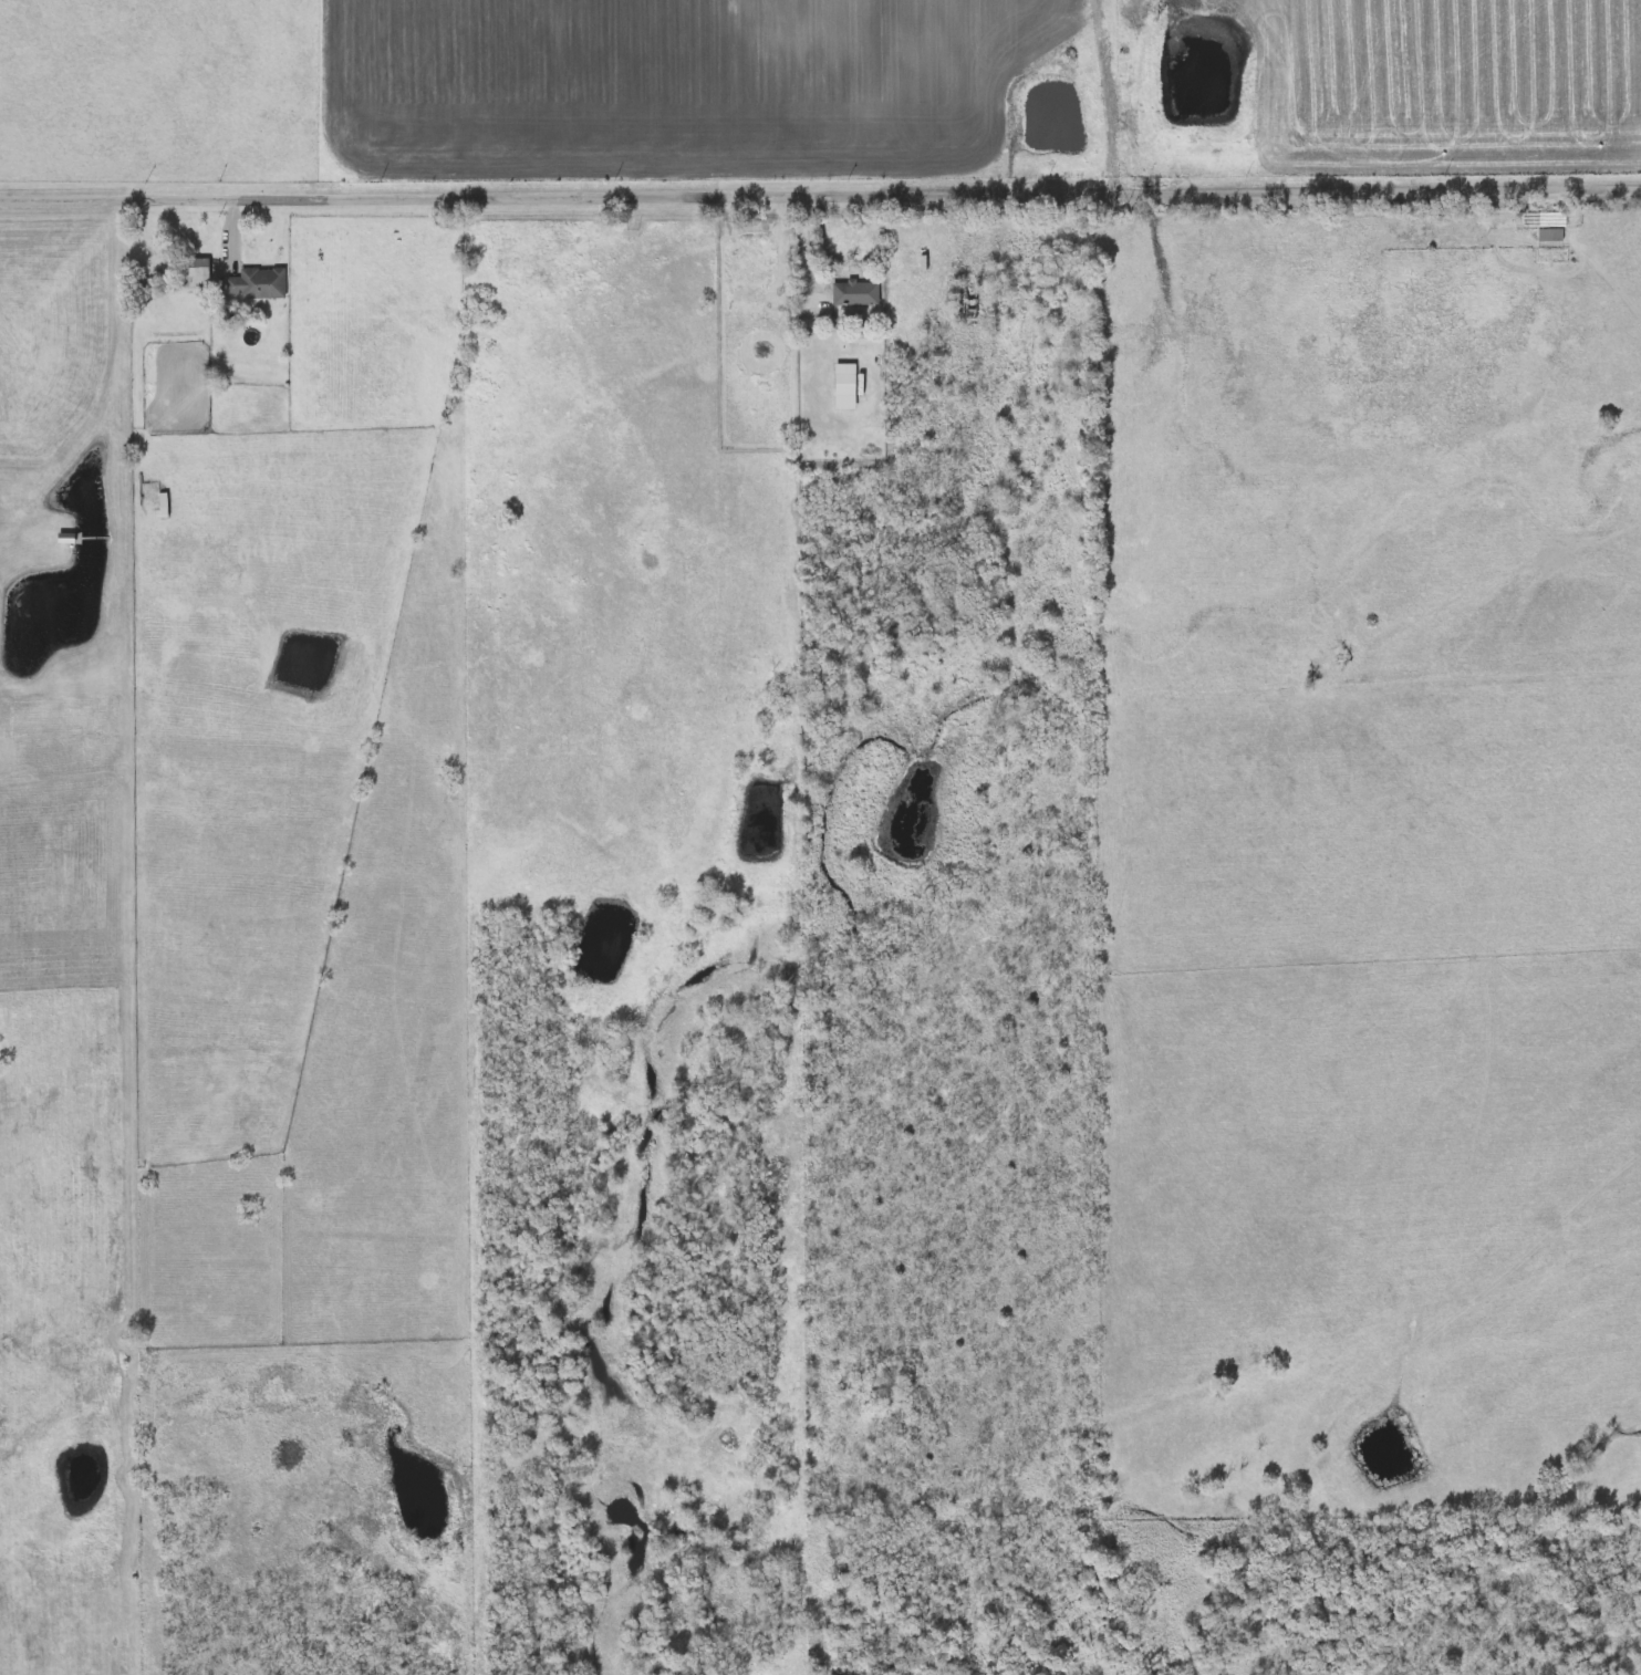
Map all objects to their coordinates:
road: (820, 195)
road: (236, 229)
building: (1549, 233)
road: (807, 250)
building: (190, 272)
building: (256, 283)
building: (854, 293)
building: (756, 295)
building: (963, 301)
building: (843, 386)
building: (63, 540)

